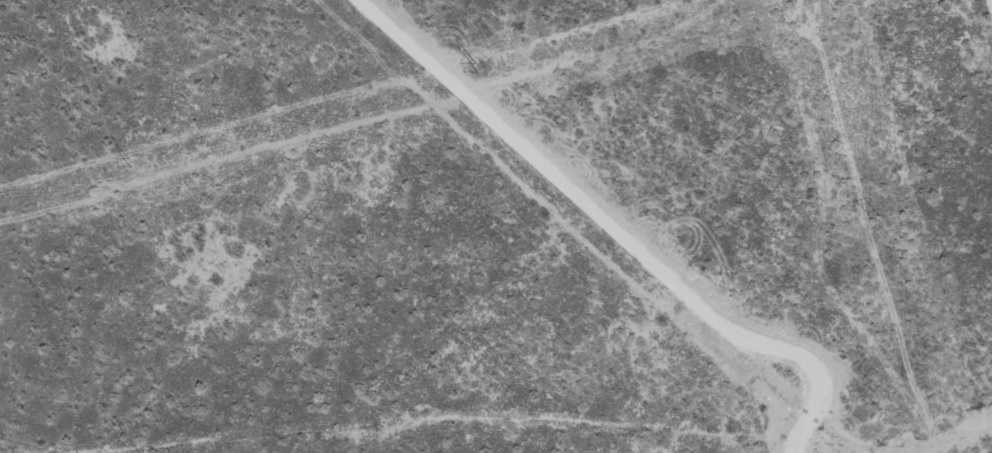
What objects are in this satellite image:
power tower: (488, 63)
power tower: (139, 158)
power tower: (872, 218)

